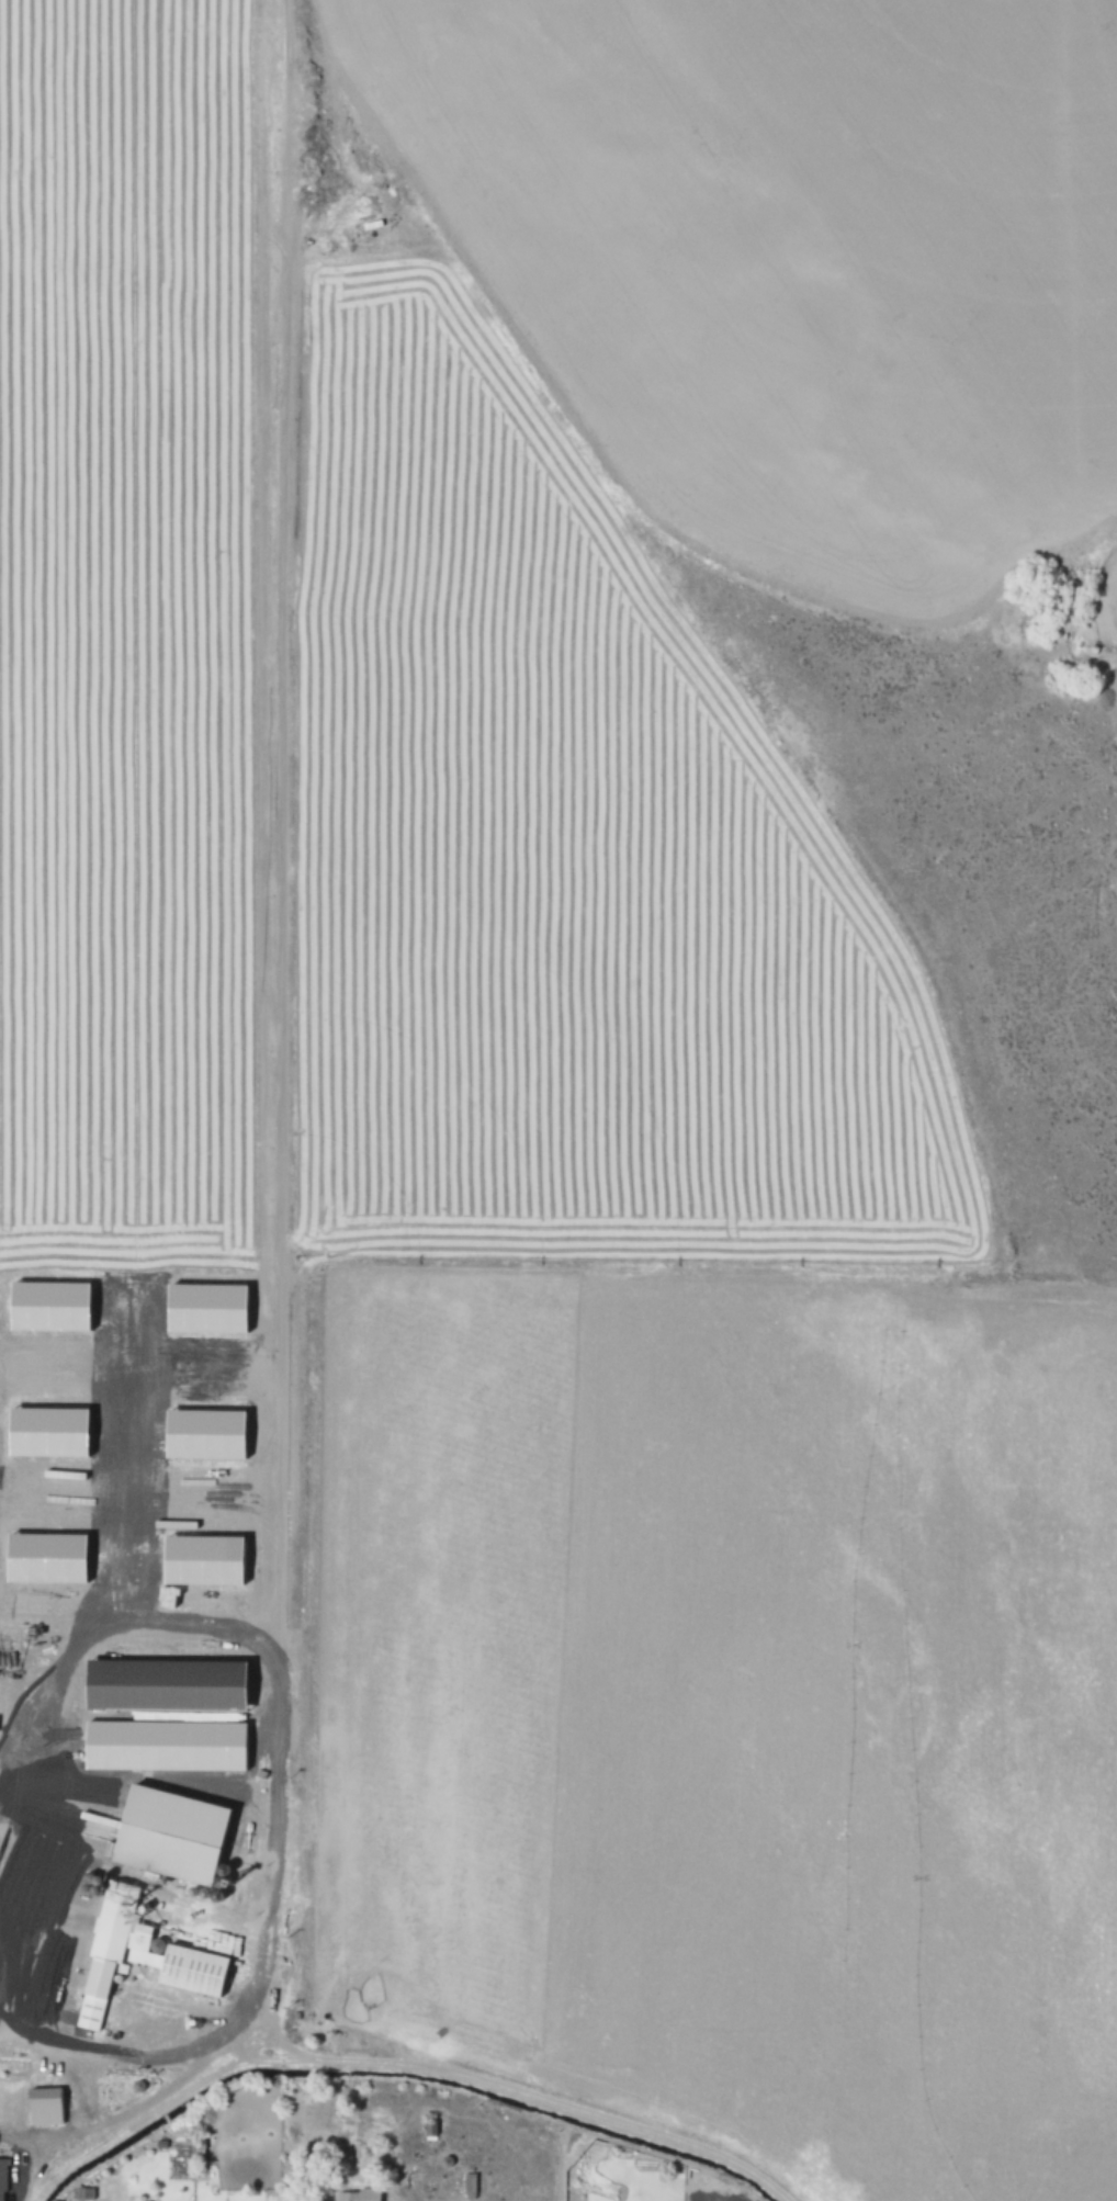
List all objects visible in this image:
crop: (558, 1100)
building: (53, 1305)
building: (210, 1308)
building: (50, 1432)
building: (207, 1433)
building: (48, 1557)
building: (206, 1559)
building: (165, 1685)
building: (167, 1745)
building: (174, 1835)
building: (138, 1954)
building: (44, 2106)
building: (2, 2182)
building: (467, 2186)
building: (357, 2194)

